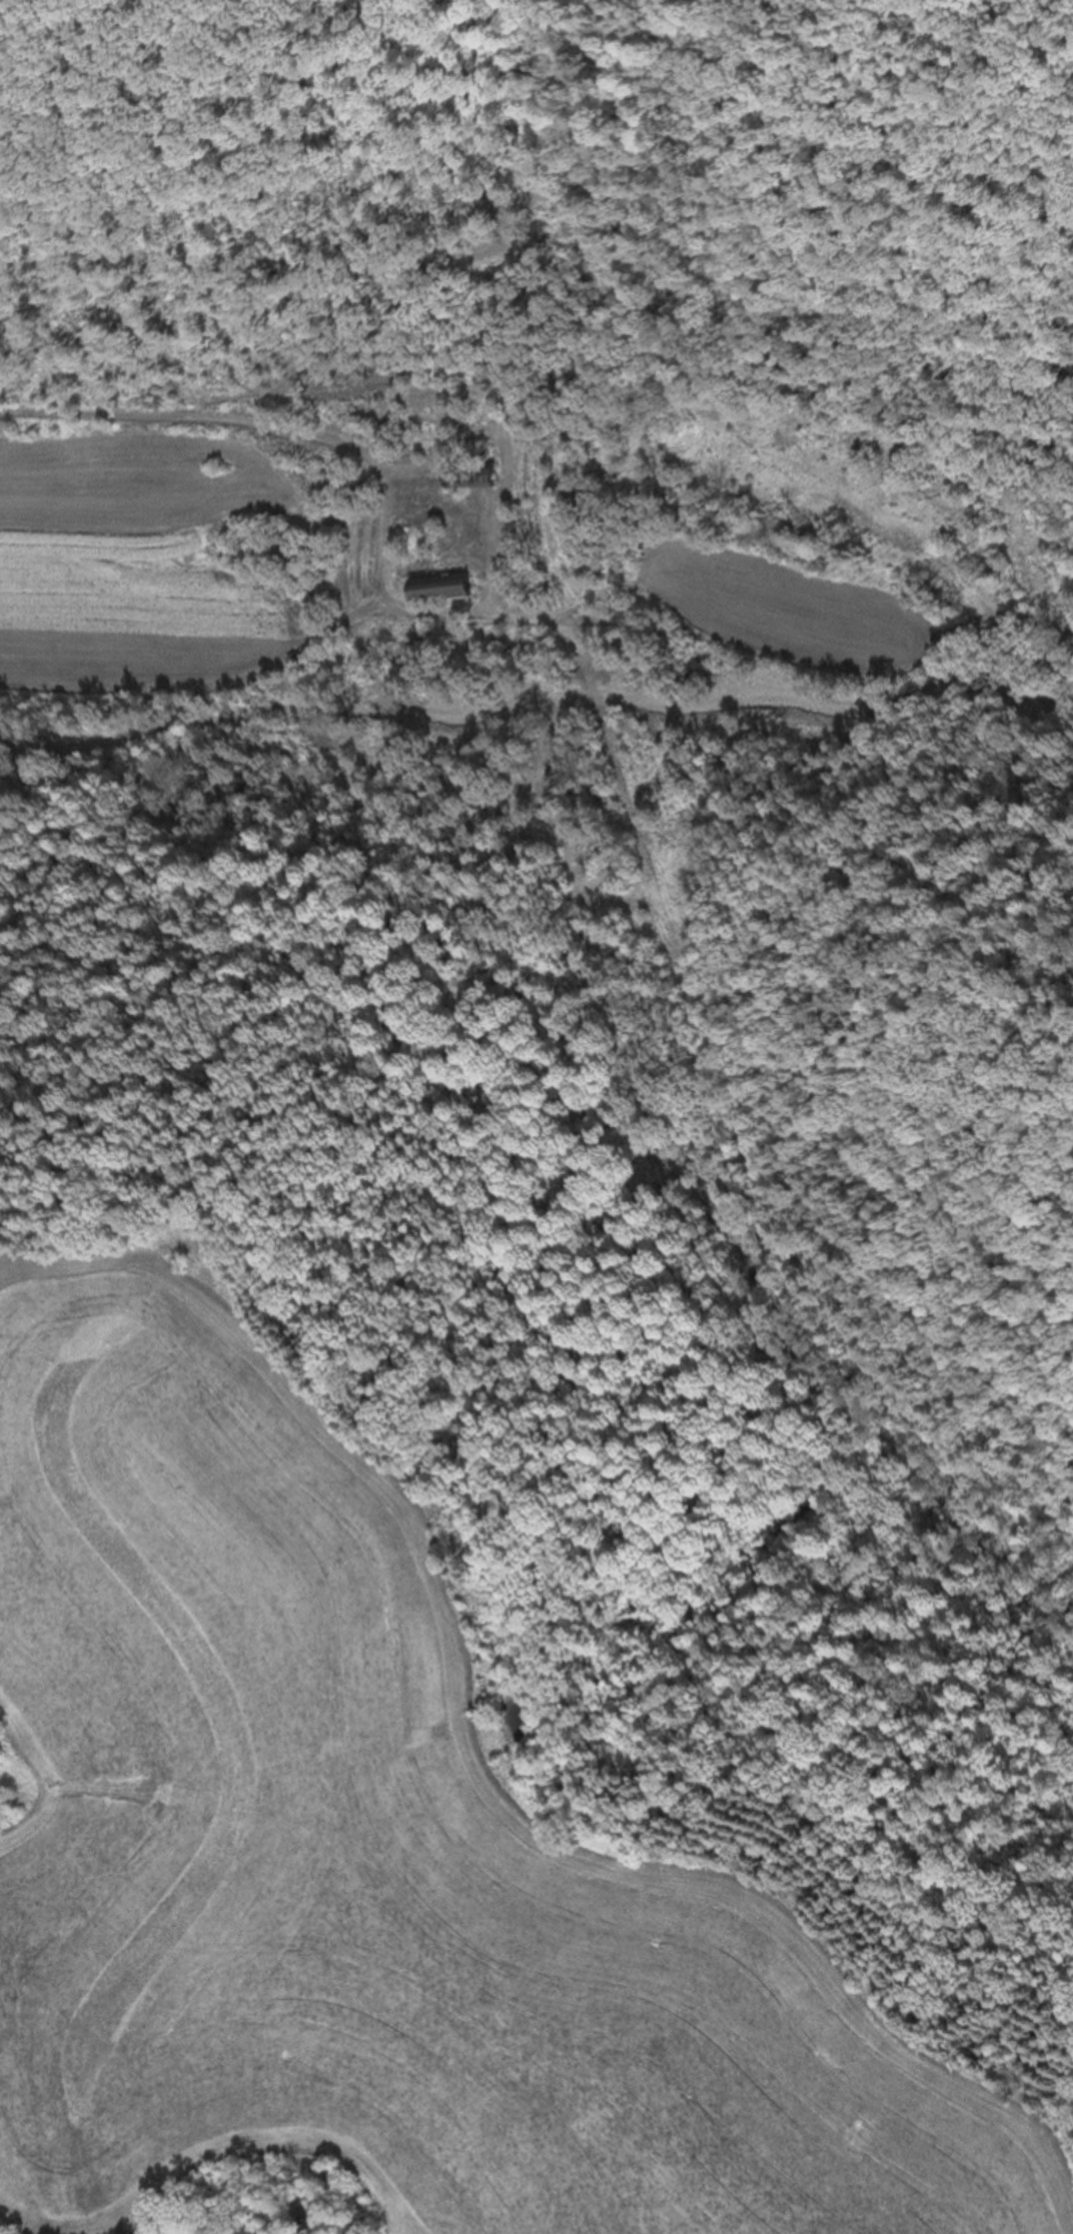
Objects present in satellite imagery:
road: (211, 410)
road: (211, 681)

